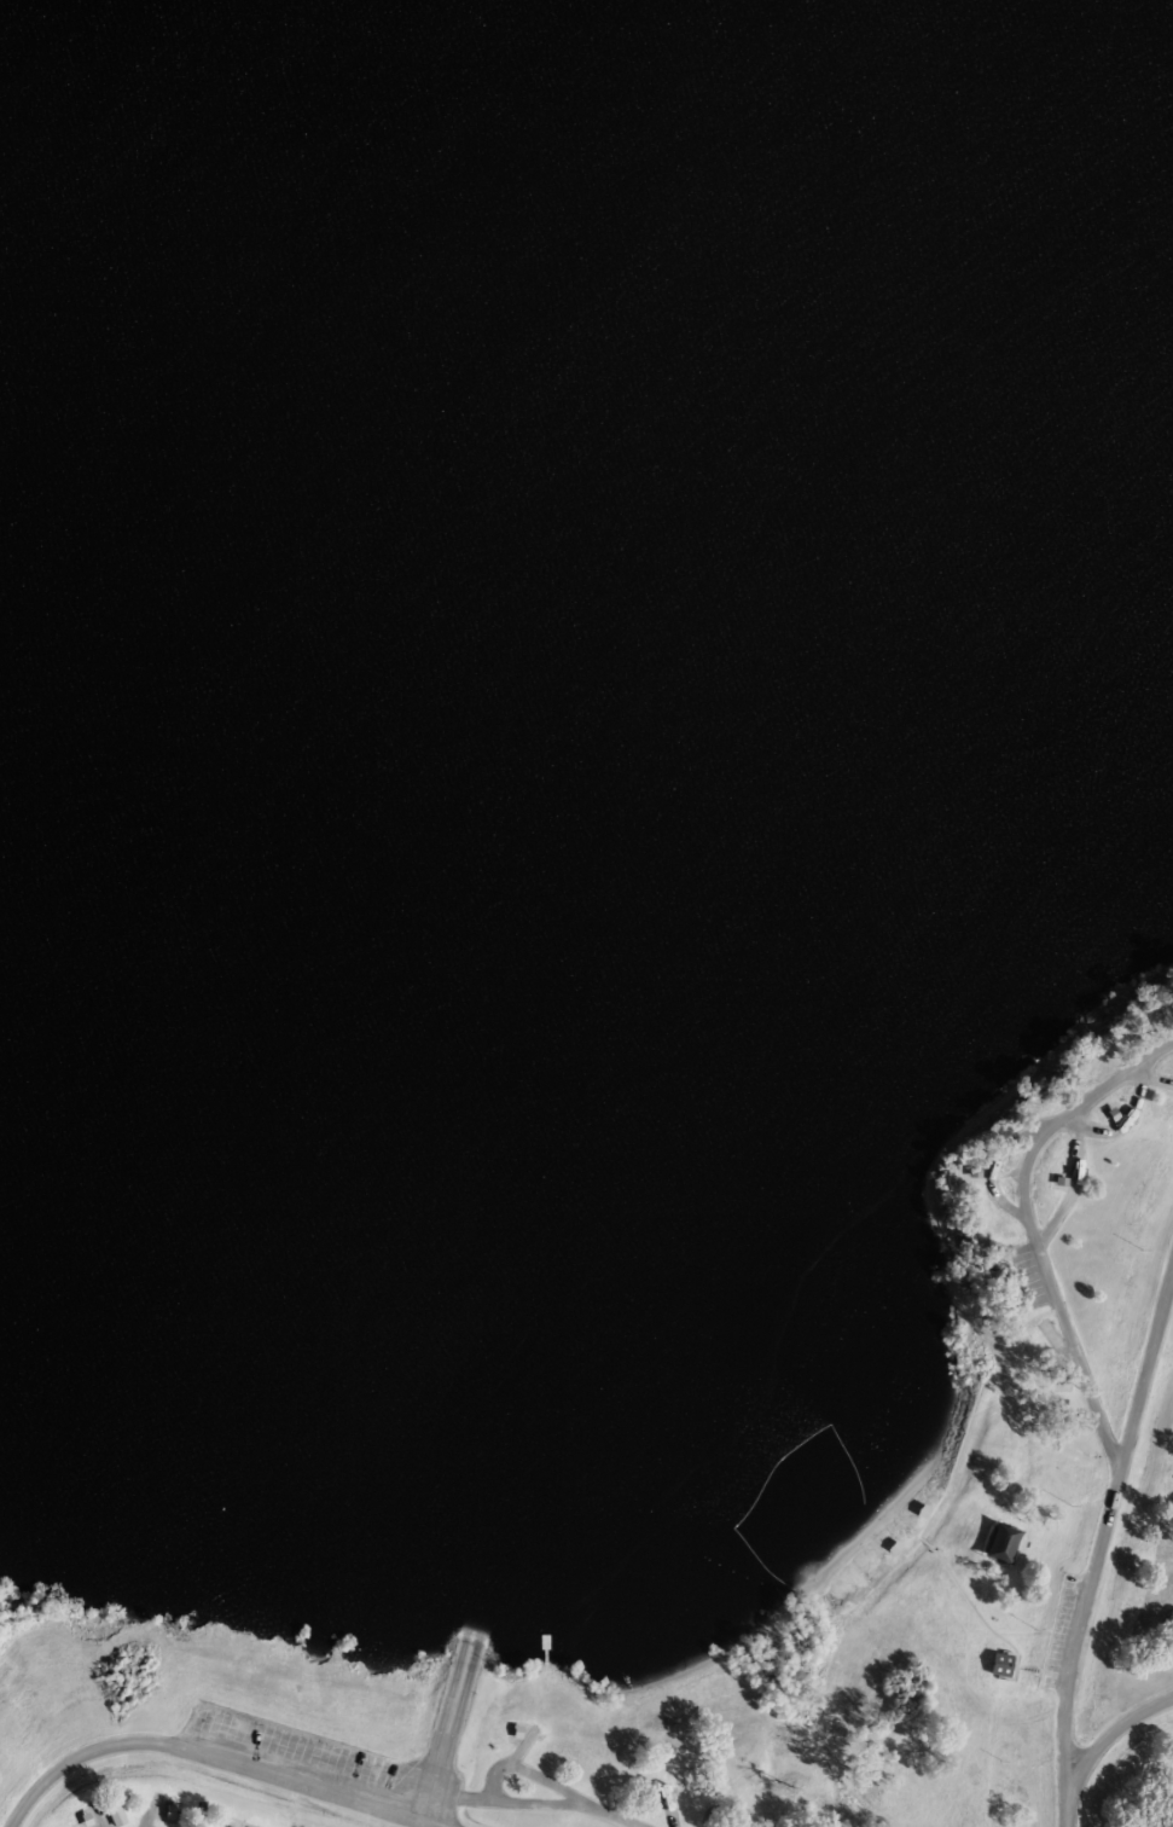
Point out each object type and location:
road: (1156, 1083)
road: (1120, 1124)
road: (993, 1168)
road: (1069, 1188)
road: (1028, 1226)
road: (1143, 1368)
building: (1001, 1543)
road: (1068, 1647)
building: (998, 1663)
road: (1110, 1733)
road: (211, 1754)
road: (524, 1803)
road: (604, 1814)
building: (114, 1815)
building: (226, 1826)

